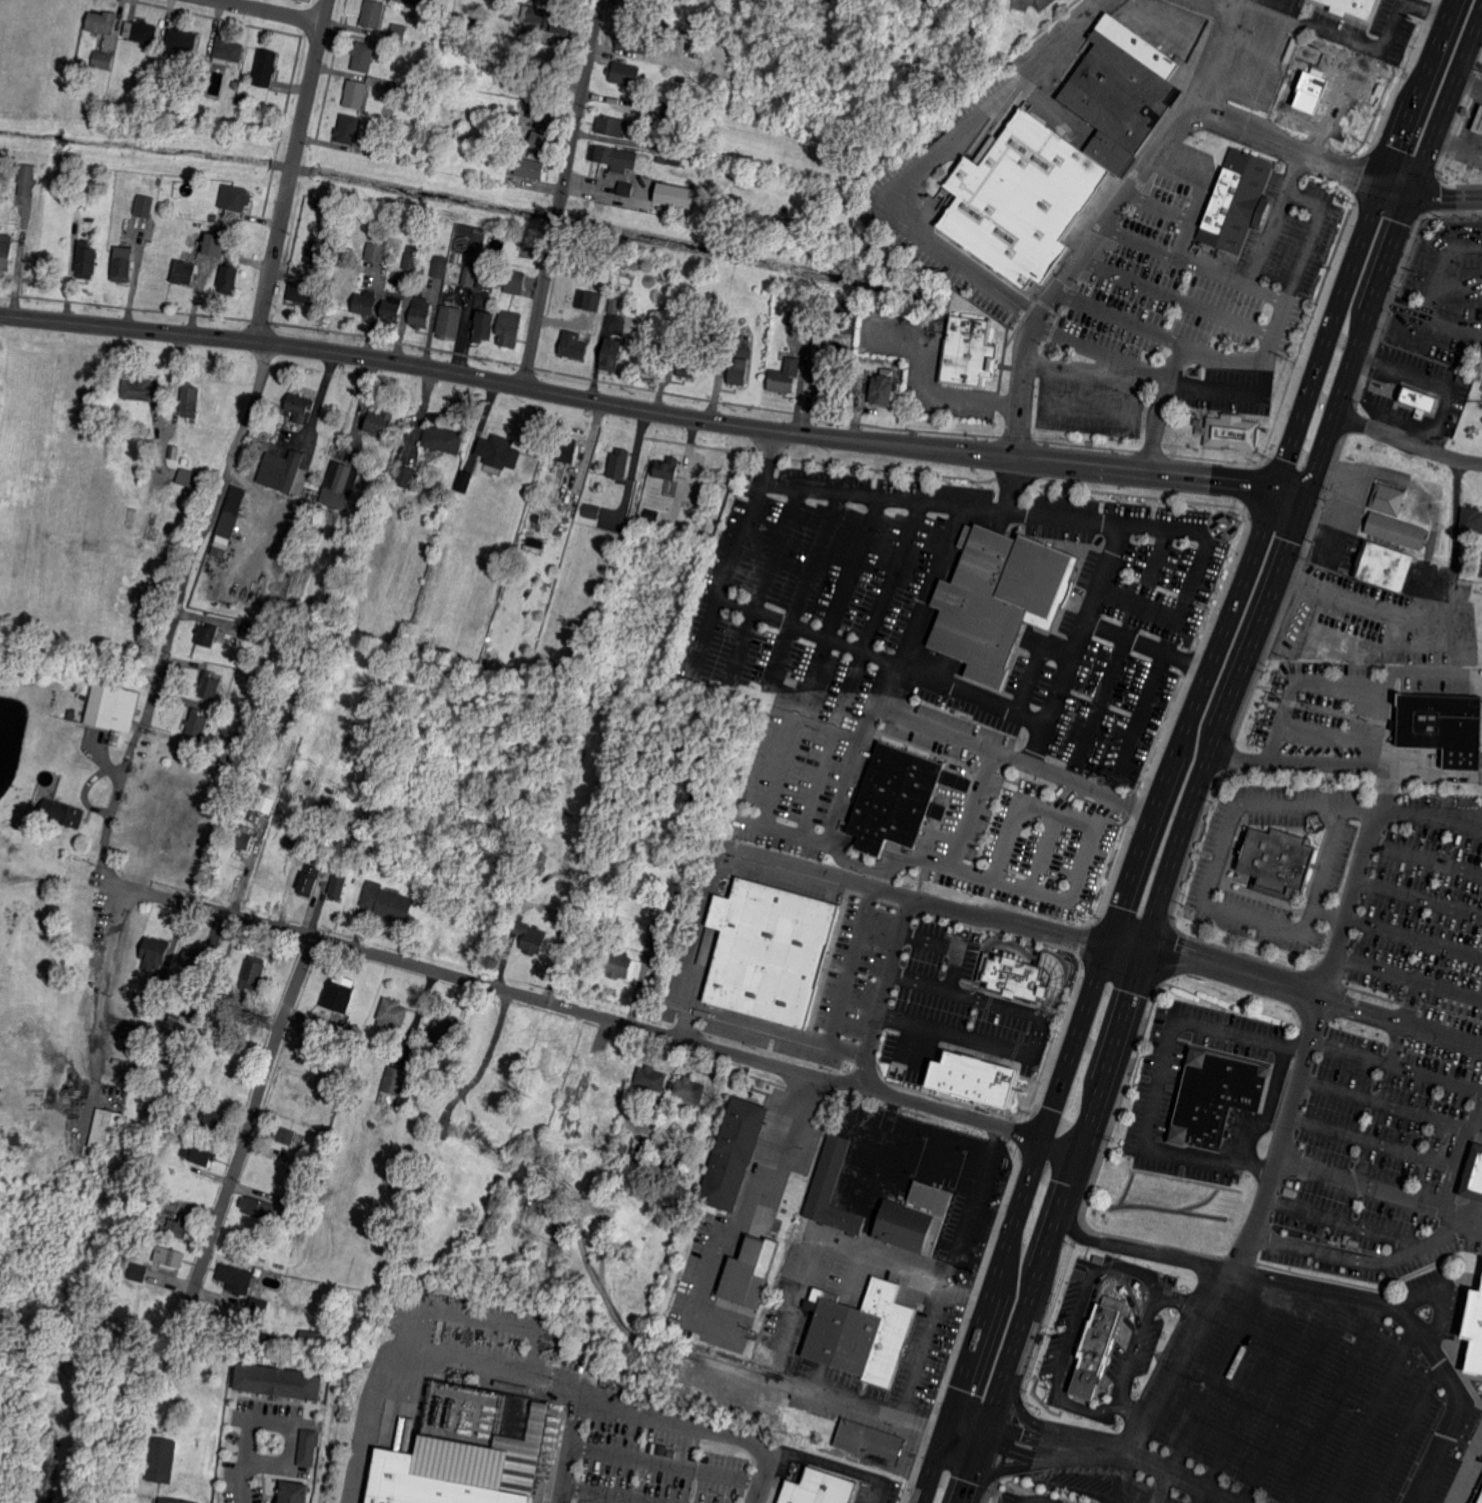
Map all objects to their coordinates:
building: (423, 3)
building: (1354, 7)
road: (269, 11)
building: (506, 13)
building: (373, 14)
building: (551, 20)
building: (102, 22)
building: (141, 31)
building: (398, 32)
building: (182, 40)
building: (630, 40)
road: (1276, 43)
building: (688, 47)
road: (1359, 48)
building: (227, 50)
building: (700, 53)
building: (363, 56)
building: (103, 60)
building: (545, 67)
building: (265, 68)
building: (623, 74)
building: (1307, 75)
building: (680, 79)
building: (521, 83)
building: (234, 85)
road: (1469, 86)
building: (396, 91)
building: (1120, 92)
building: (534, 93)
building: (355, 94)
building: (153, 100)
building: (242, 100)
building: (541, 111)
building: (666, 111)
building: (687, 115)
building: (511, 117)
building: (1477, 119)
building: (186, 120)
road: (1440, 120)
building: (614, 126)
building: (347, 129)
building: (660, 137)
building: (540, 140)
road: (1284, 144)
road: (1458, 144)
building: (374, 147)
building: (503, 148)
building: (612, 156)
building: (669, 160)
road: (1146, 164)
road: (921, 165)
building: (530, 168)
road: (291, 170)
building: (27, 180)
traffic signals: (1380, 180)
building: (625, 189)
road: (1199, 191)
road: (562, 194)
building: (674, 195)
building: (77, 197)
traffic signals: (1409, 197)
road: (1428, 197)
building: (1020, 199)
building: (235, 200)
building: (1236, 201)
road: (1158, 204)
building: (77, 205)
building: (145, 206)
road: (1272, 216)
building: (214, 217)
road: (1365, 222)
building: (136, 223)
building: (214, 243)
road: (1463, 246)
building: (6, 252)
building: (317, 252)
building: (376, 252)
building: (412, 257)
building: (86, 260)
building: (483, 260)
road: (1192, 261)
building: (626, 262)
road: (1440, 264)
building: (122, 266)
building: (439, 267)
building: (184, 273)
building: (469, 275)
building: (395, 277)
building: (229, 278)
building: (485, 281)
building: (515, 282)
road: (1459, 283)
building: (303, 293)
road: (1175, 294)
building: (588, 298)
building: (365, 303)
building: (392, 306)
building: (619, 306)
road: (1414, 311)
building: (420, 312)
road: (1123, 317)
building: (800, 319)
building: (847, 320)
building: (449, 321)
road: (559, 321)
building: (672, 325)
building: (484, 327)
building: (508, 328)
building: (573, 345)
building: (744, 352)
building: (969, 352)
road: (1097, 352)
building: (612, 354)
road: (1259, 356)
building: (687, 365)
road: (1079, 366)
building: (738, 372)
building: (785, 376)
road: (1433, 380)
road: (1020, 386)
building: (831, 387)
road: (1228, 387)
building: (141, 389)
building: (883, 389)
building: (897, 389)
road: (948, 395)
building: (1420, 399)
building: (189, 400)
building: (300, 406)
road: (1088, 409)
road: (652, 411)
building: (380, 422)
building: (1231, 430)
building: (443, 439)
road: (1408, 440)
road: (1324, 444)
building: (496, 448)
building: (567, 450)
building: (174, 452)
road: (768, 455)
building: (186, 461)
building: (619, 464)
building: (666, 469)
building: (280, 471)
building: (370, 472)
building: (405, 476)
building: (190, 479)
building: (466, 479)
building: (340, 486)
traffic signals: (1274, 487)
traffic signals: (1305, 500)
building: (1391, 500)
building: (230, 511)
building: (592, 511)
building: (653, 515)
building: (535, 519)
building: (1471, 519)
road: (1338, 520)
road: (1127, 521)
building: (155, 527)
road: (201, 528)
building: (1397, 530)
road: (1314, 531)
building: (447, 536)
building: (535, 544)
building: (1384, 565)
building: (1479, 568)
road: (1101, 571)
building: (995, 599)
road: (1423, 600)
road: (920, 608)
building: (251, 633)
building: (207, 635)
road: (1082, 636)
building: (428, 639)
road: (728, 659)
road: (1345, 678)
building: (209, 686)
road: (974, 690)
road: (1149, 691)
road: (1195, 694)
building: (112, 708)
building: (208, 710)
building: (197, 724)
building: (1443, 727)
building: (218, 756)
road: (1317, 763)
road: (1430, 770)
building: (264, 788)
road: (114, 798)
building: (899, 799)
building: (258, 805)
building: (60, 812)
building: (327, 815)
building: (254, 816)
road: (1447, 822)
building: (595, 827)
building: (359, 836)
building: (243, 837)
building: (329, 841)
building: (561, 854)
road: (1425, 856)
road: (1328, 859)
building: (1277, 860)
building: (534, 865)
road: (1217, 865)
building: (306, 879)
building: (338, 882)
road: (121, 885)
road: (1064, 893)
building: (651, 896)
road: (1419, 897)
building: (386, 903)
road: (1341, 932)
building: (658, 935)
building: (531, 937)
road: (1414, 938)
traffic signals: (1144, 941)
road: (1106, 942)
traffic signals: (1108, 943)
building: (154, 953)
building: (789, 956)
building: (192, 959)
building: (618, 965)
building: (253, 973)
building: (1023, 975)
road: (1408, 976)
road: (924, 984)
park: (27, 990)
building: (340, 990)
building: (169, 993)
building: (154, 994)
road: (100, 1004)
building: (390, 1016)
building: (247, 1017)
road: (612, 1019)
building: (318, 1023)
road: (761, 1026)
building: (349, 1029)
building: (442, 1029)
road: (869, 1029)
building: (175, 1040)
building: (550, 1062)
road: (1397, 1065)
building: (612, 1068)
road: (1102, 1076)
building: (651, 1078)
building: (972, 1078)
road: (1158, 1081)
building: (392, 1088)
building: (690, 1089)
building: (117, 1096)
building: (1215, 1097)
road: (1384, 1102)
road: (1267, 1108)
building: (213, 1118)
road: (251, 1124)
building: (566, 1125)
building: (107, 1129)
building: (282, 1134)
road: (789, 1136)
traffic signals: (1040, 1136)
building: (474, 1137)
building: (148, 1141)
road: (1373, 1141)
traffic signals: (1080, 1149)
building: (734, 1153)
building: (621, 1154)
building: (643, 1154)
building: (199, 1155)
building: (533, 1160)
building: (298, 1161)
building: (675, 1170)
building: (570, 1171)
building: (593, 1174)
building: (1471, 1174)
building: (1477, 1175)
building: (833, 1189)
road: (1412, 1198)
building: (156, 1204)
building: (257, 1207)
building: (292, 1209)
road: (1462, 1214)
building: (631, 1215)
building: (913, 1218)
road: (1340, 1220)
road: (966, 1221)
road: (1011, 1222)
building: (178, 1226)
building: (167, 1256)
building: (452, 1257)
building: (1099, 1258)
road: (1362, 1258)
building: (138, 1272)
building: (747, 1272)
building: (232, 1275)
road: (1330, 1288)
road: (1091, 1298)
road: (1182, 1301)
road: (798, 1304)
building: (258, 1307)
building: (1471, 1314)
road: (479, 1316)
road: (1076, 1326)
building: (862, 1332)
road: (453, 1334)
building: (274, 1337)
building: (311, 1337)
building: (1039, 1338)
building: (1096, 1345)
road: (1135, 1347)
road: (417, 1349)
road: (1179, 1360)
road: (1217, 1373)
building: (279, 1381)
road: (1251, 1393)
road: (1291, 1397)
road: (1333, 1402)
road: (1131, 1410)
traffic signals: (949, 1411)
road: (1370, 1416)
road: (650, 1419)
road: (293, 1424)
traffic signals: (990, 1425)
traffic signals: (943, 1427)
building: (170, 1430)
road: (1016, 1433)
road: (1405, 1434)
traffic signals: (984, 1441)
building: (871, 1442)
road: (997, 1446)
building: (306, 1448)
road: (1123, 1455)
building: (159, 1460)
building: (1481, 1460)
building: (467, 1464)
road: (665, 1464)
road: (836, 1467)
road: (1119, 1479)
road: (241, 1482)
road: (1163, 1487)
building: (818, 1489)
building: (294, 1492)
road: (611, 1493)
building: (1478, 1496)
road: (965, 1497)
road: (1041, 1499)
building: (169, 1501)
road: (1024, 1501)

